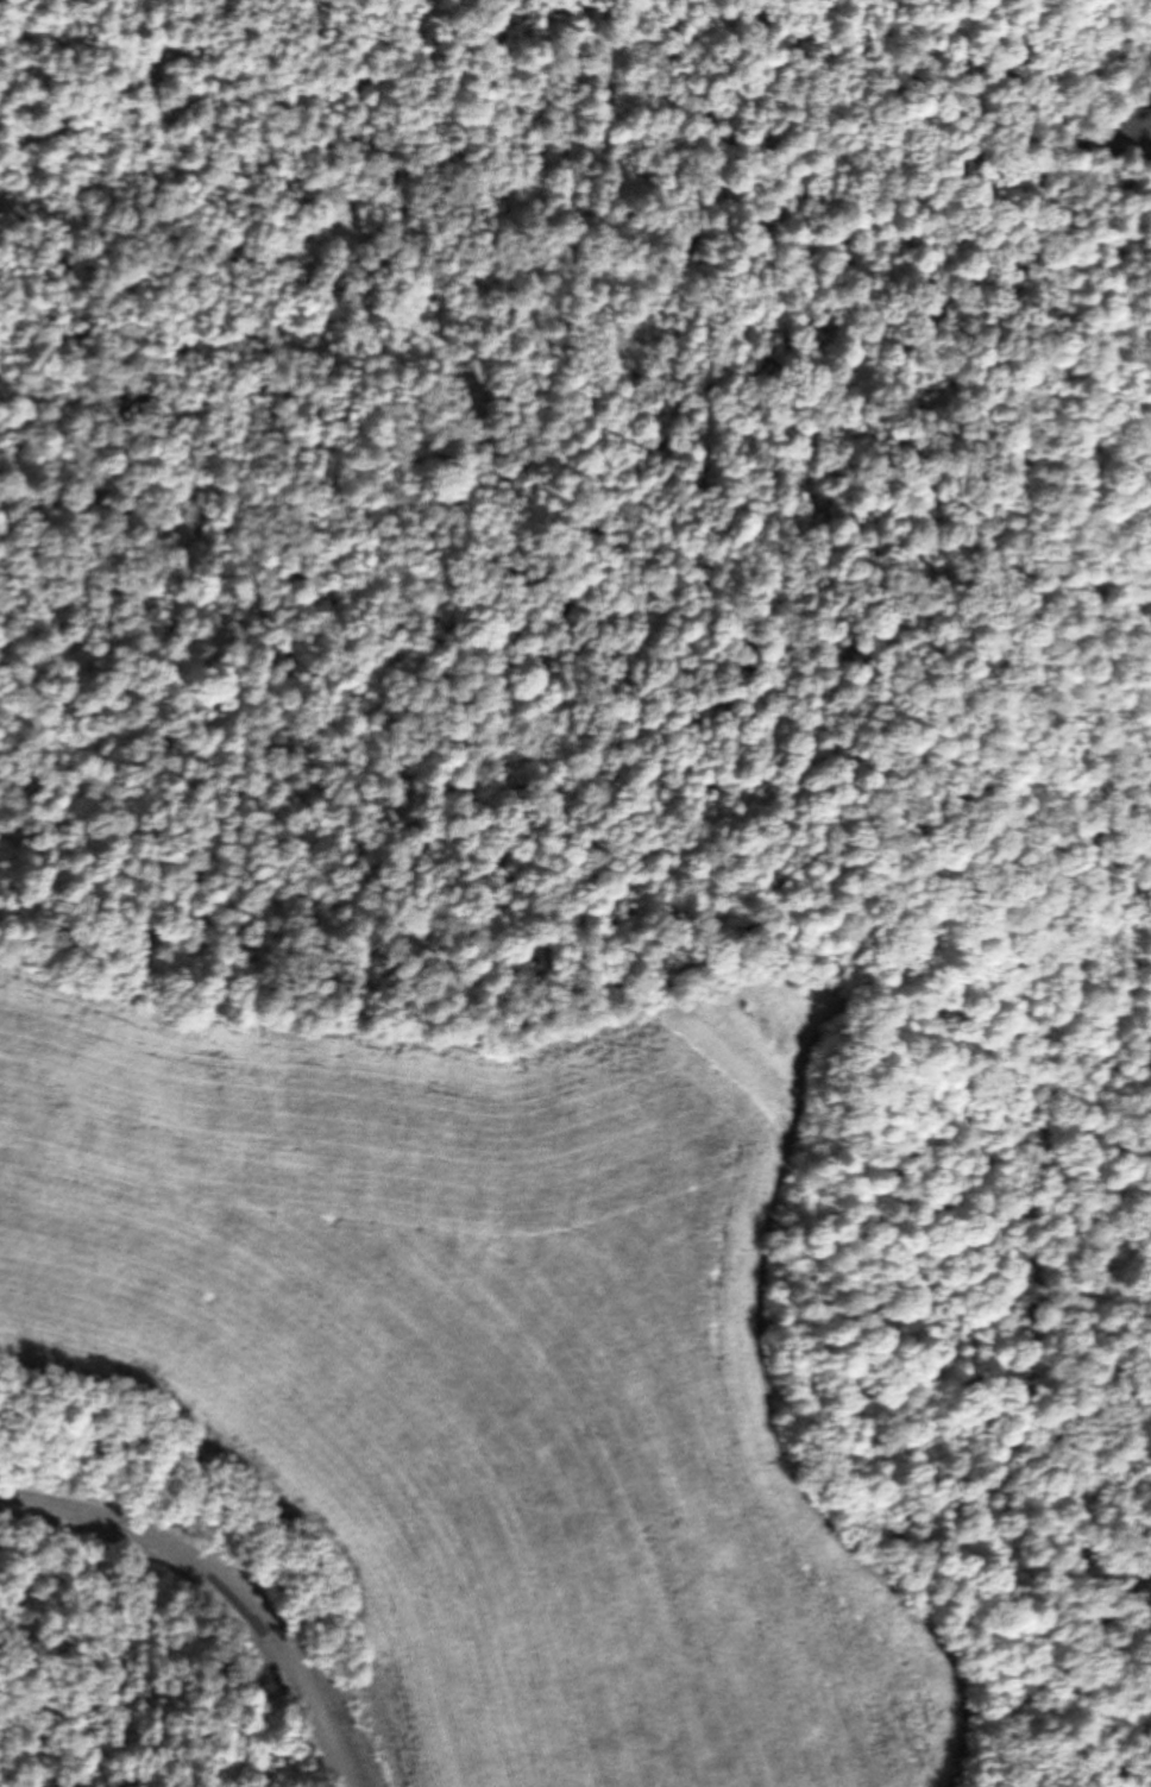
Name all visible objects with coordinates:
road: (224, 1578)

